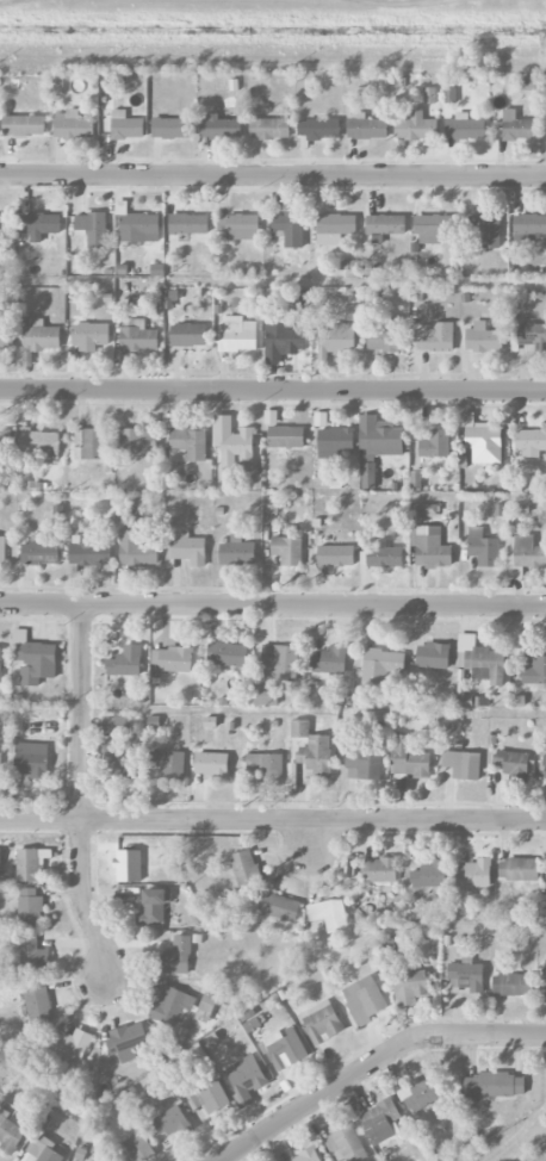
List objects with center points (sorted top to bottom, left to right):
building: (527, 83)
building: (449, 94)
building: (430, 95)
building: (24, 125)
building: (73, 125)
building: (122, 126)
building: (366, 126)
building: (416, 126)
building: (514, 126)
building: (169, 128)
building: (219, 128)
building: (269, 128)
building: (465, 128)
building: (318, 129)
road: (273, 173)
building: (5, 223)
building: (39, 224)
building: (188, 224)
building: (385, 224)
building: (529, 225)
building: (137, 226)
building: (242, 226)
building: (334, 228)
building: (434, 228)
building: (92, 229)
building: (288, 229)
building: (486, 230)
building: (302, 298)
building: (39, 335)
building: (89, 335)
building: (188, 335)
building: (238, 335)
building: (532, 335)
building: (6, 336)
building: (386, 336)
building: (434, 337)
building: (483, 339)
building: (135, 340)
building: (284, 341)
building: (335, 341)
road: (273, 389)
building: (285, 436)
building: (379, 436)
building: (482, 439)
building: (137, 440)
building: (334, 441)
building: (531, 441)
building: (39, 442)
building: (93, 443)
building: (187, 443)
building: (435, 443)
building: (234, 446)
building: (368, 476)
building: (416, 480)
building: (418, 510)
building: (432, 547)
building: (2, 550)
building: (136, 550)
building: (190, 550)
building: (287, 550)
building: (41, 551)
building: (89, 551)
building: (485, 551)
building: (237, 552)
building: (335, 555)
building: (523, 555)
building: (381, 557)
road: (273, 606)
building: (227, 653)
building: (433, 656)
building: (35, 659)
building: (170, 659)
building: (330, 660)
building: (480, 660)
building: (125, 662)
building: (0, 663)
building: (279, 663)
building: (381, 665)
building: (534, 671)
building: (265, 695)
building: (114, 725)
building: (299, 728)
building: (316, 755)
building: (122, 757)
building: (408, 758)
building: (31, 759)
building: (0, 762)
building: (168, 763)
building: (513, 763)
building: (362, 764)
building: (463, 764)
building: (211, 765)
building: (545, 766)
building: (265, 768)
road: (82, 795)
road: (272, 818)
road: (312, 836)
building: (0, 857)
building: (31, 864)
building: (244, 867)
building: (519, 869)
building: (378, 870)
building: (430, 873)
building: (474, 874)
building: (278, 906)
building: (153, 907)
building: (30, 908)
building: (329, 914)
building: (32, 955)
building: (176, 956)
building: (544, 971)
building: (467, 975)
building: (513, 985)
building: (410, 987)
building: (364, 999)
building: (37, 1005)
building: (170, 1005)
building: (321, 1023)
building: (126, 1041)
building: (72, 1044)
building: (284, 1049)
road: (370, 1061)
building: (246, 1079)
building: (495, 1085)
building: (418, 1092)
building: (213, 1097)
building: (380, 1120)
building: (169, 1122)
building: (10, 1132)
building: (346, 1144)
building: (138, 1147)
building: (44, 1149)
building: (308, 1156)

